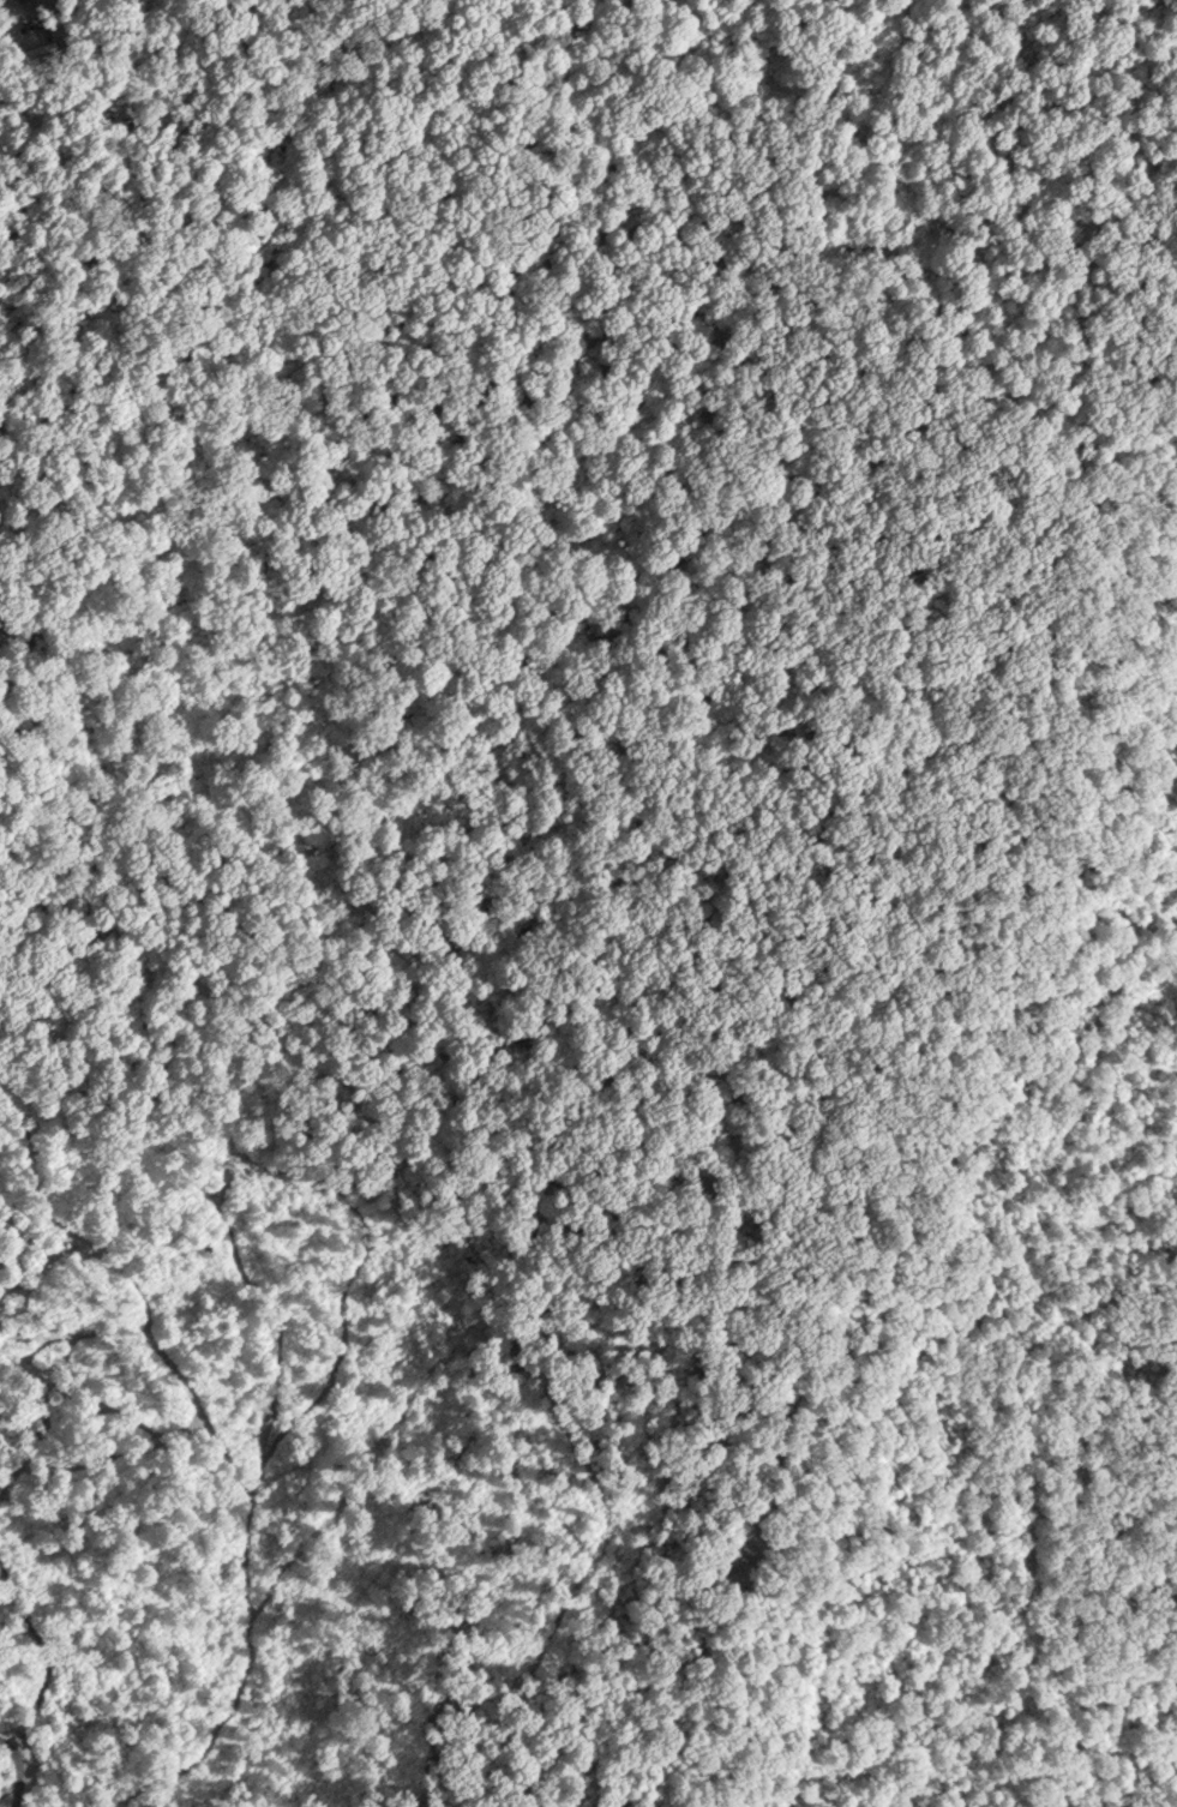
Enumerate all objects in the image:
road: (18, 1772)

